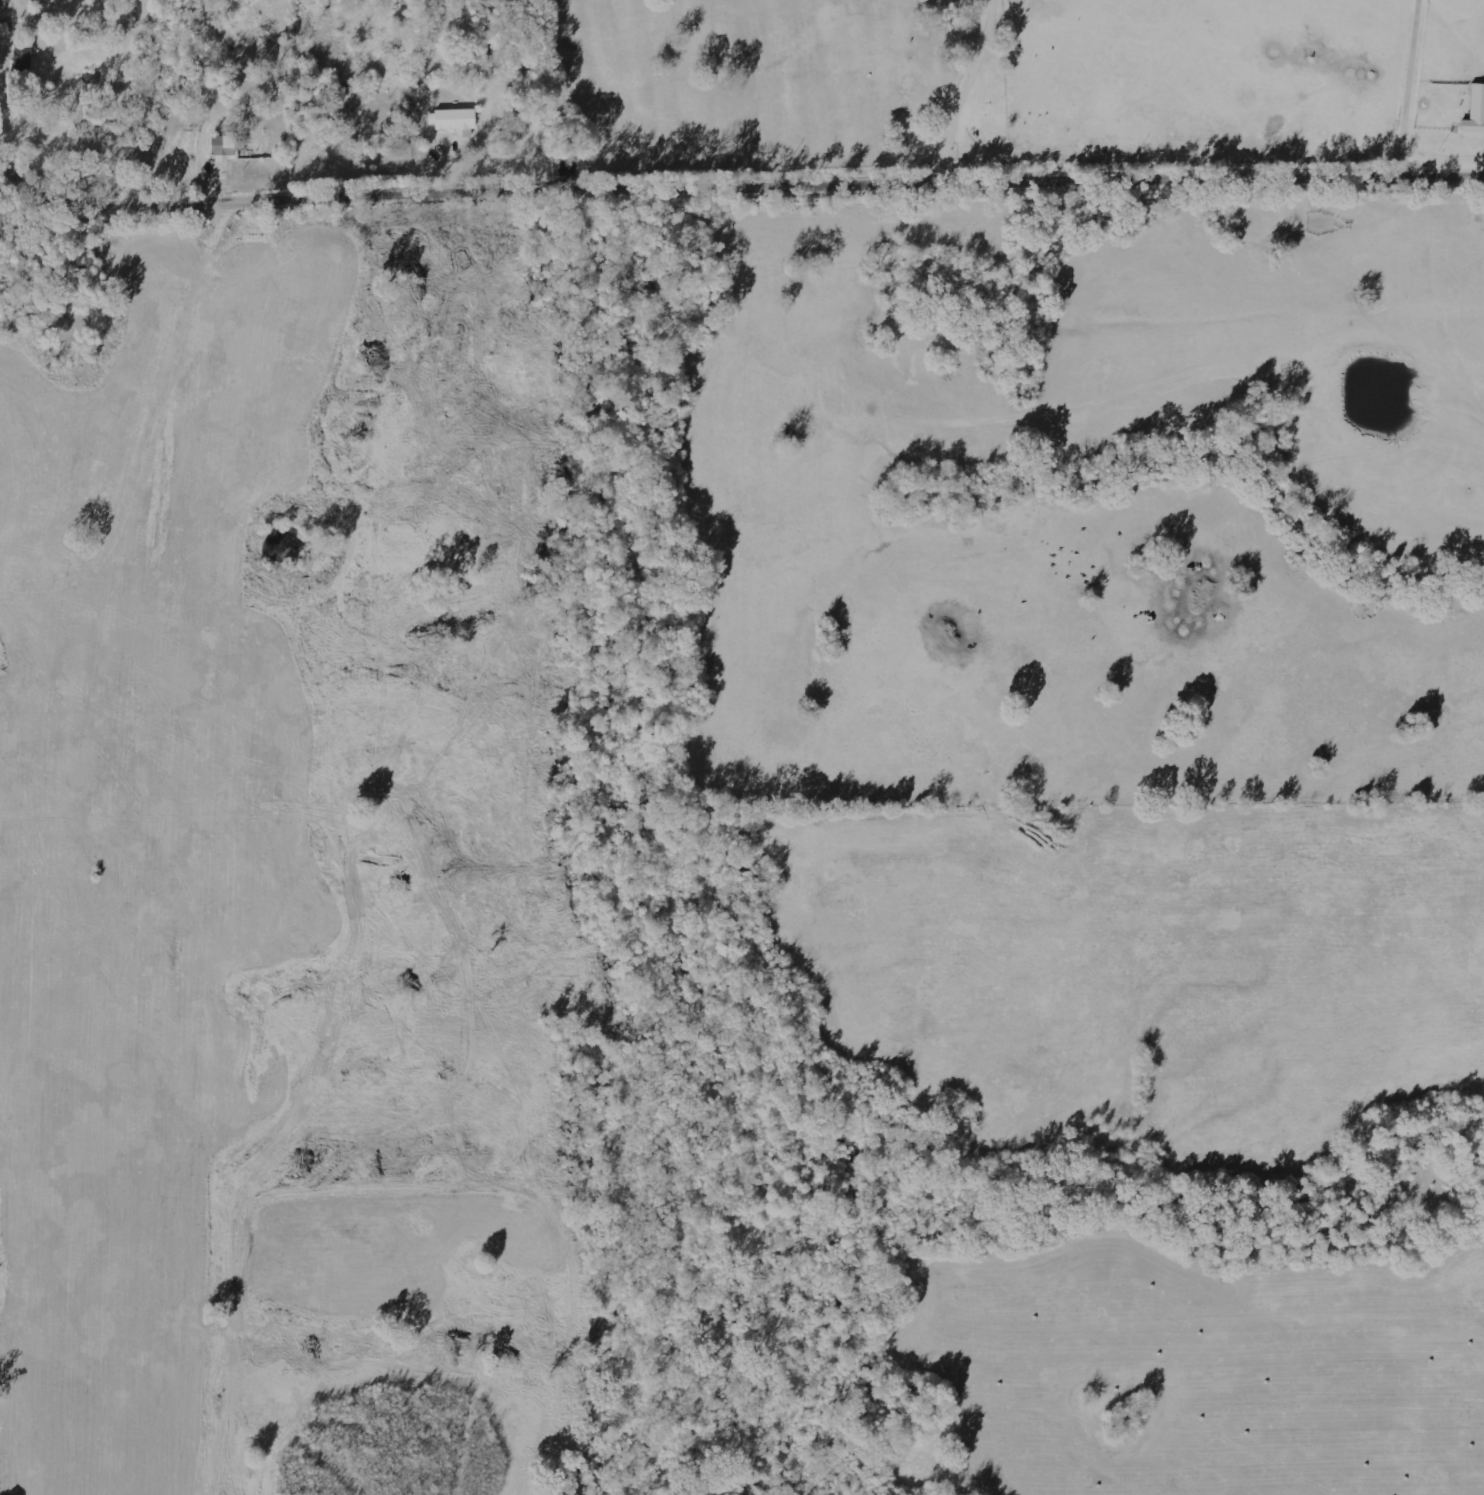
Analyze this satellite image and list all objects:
building: (22, 58)
road: (1234, 91)
road: (925, 92)
building: (1475, 111)
building: (454, 121)
building: (226, 147)
road: (735, 189)

